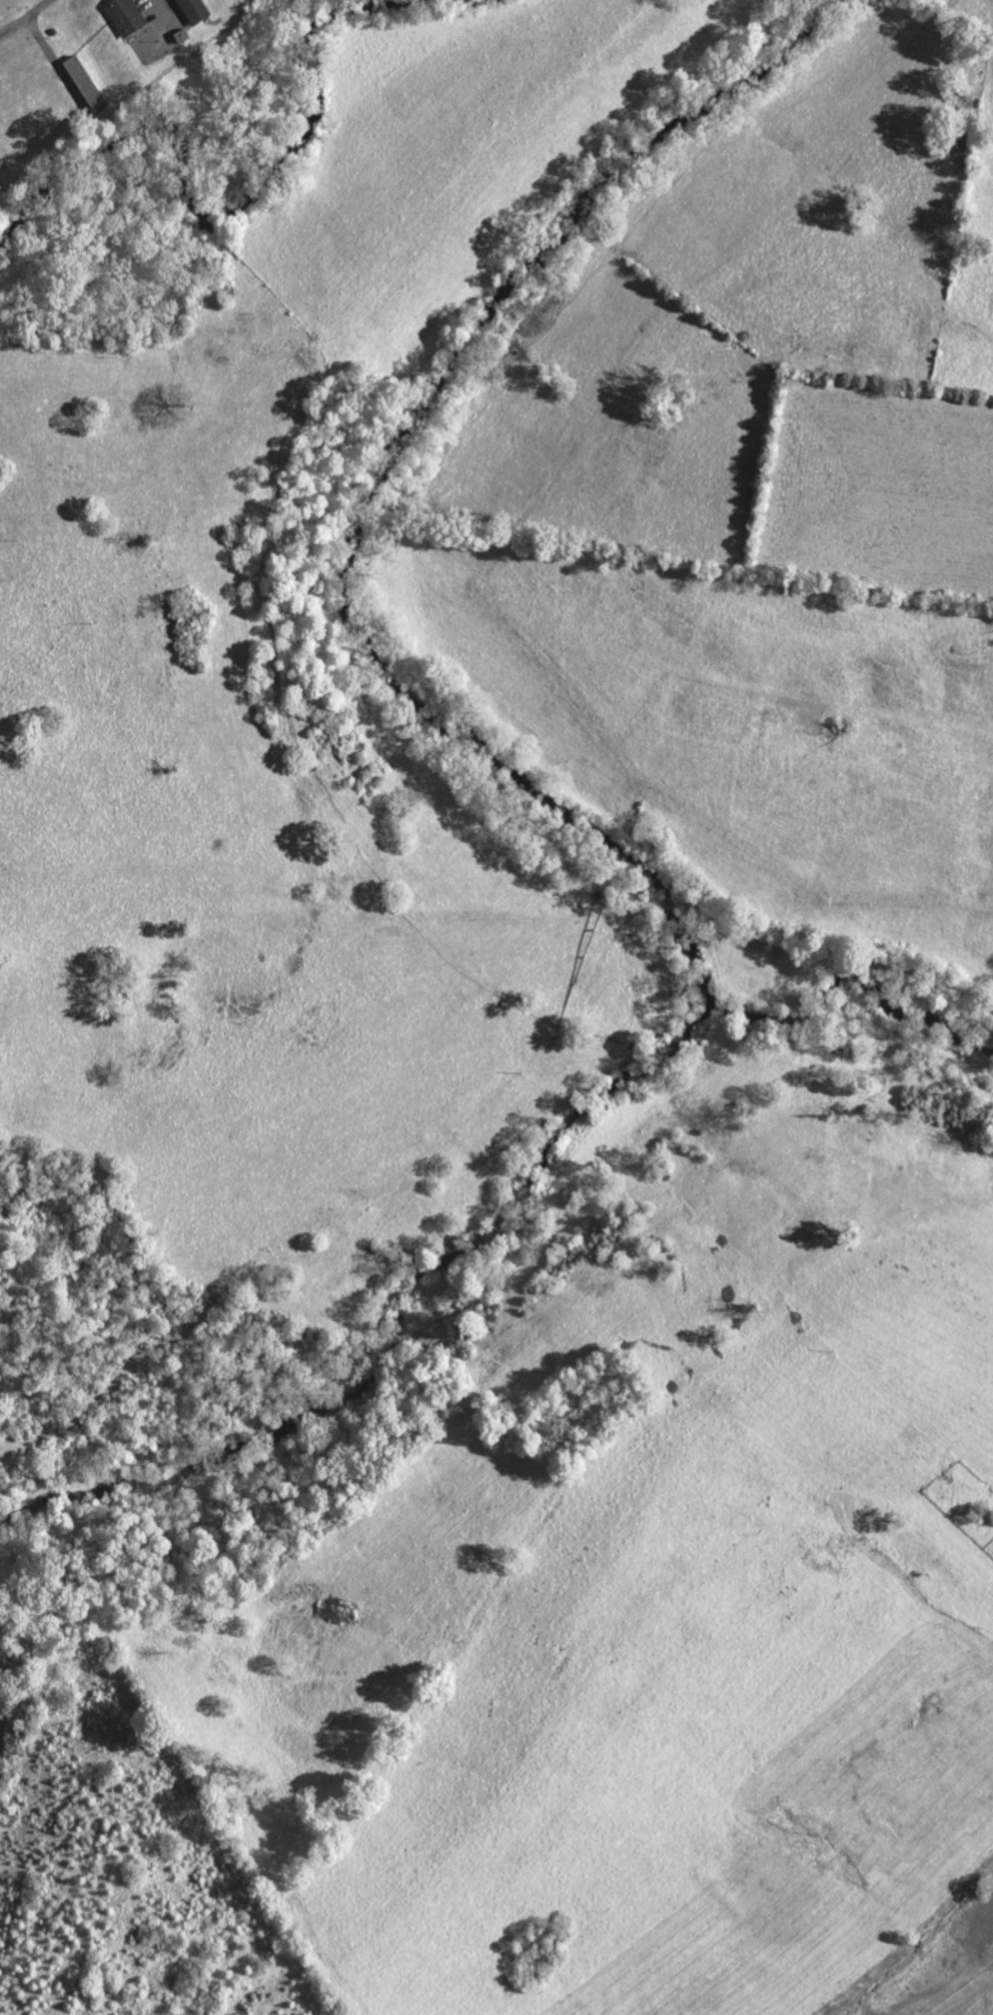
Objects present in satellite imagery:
building: (195, 10)
road: (24, 16)
building: (126, 16)
wastewater plant: (87, 64)
building: (85, 83)
crop: (979, 197)

